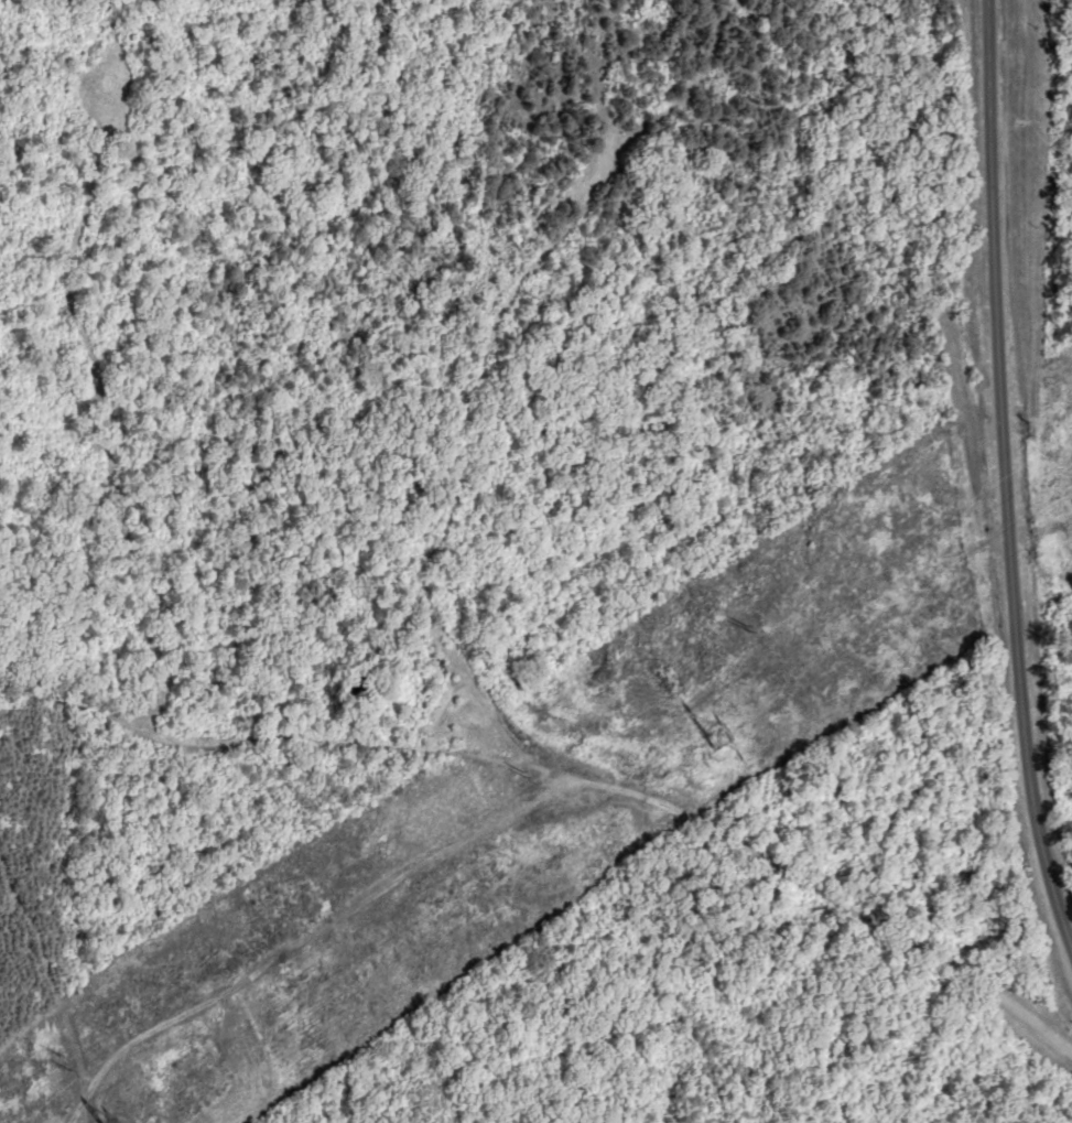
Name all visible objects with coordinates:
road: (1007, 450)
power tower: (715, 738)

